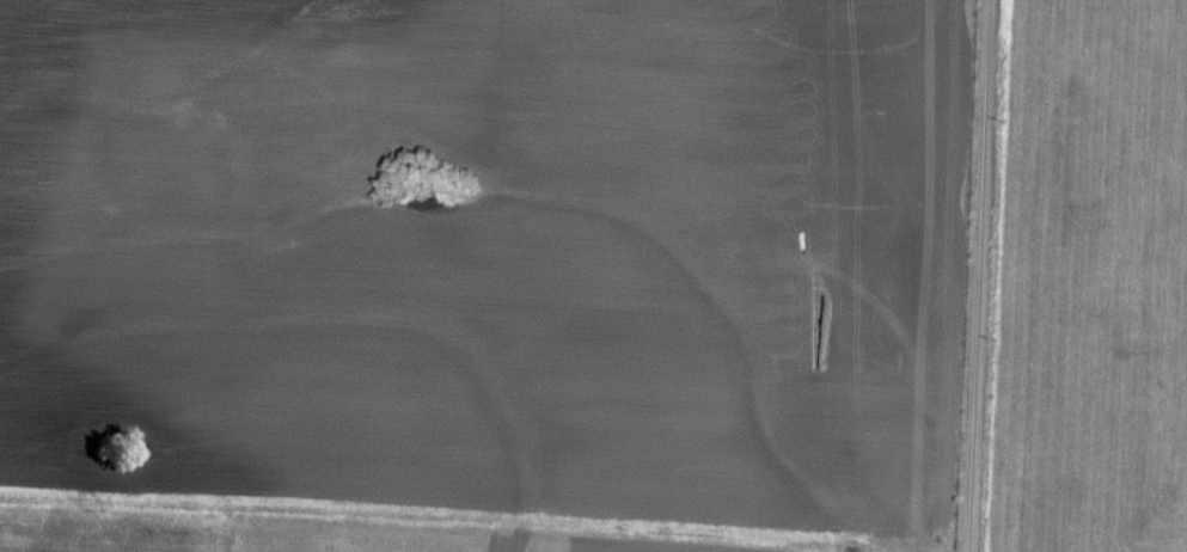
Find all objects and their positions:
road: (980, 276)
road: (475, 515)

